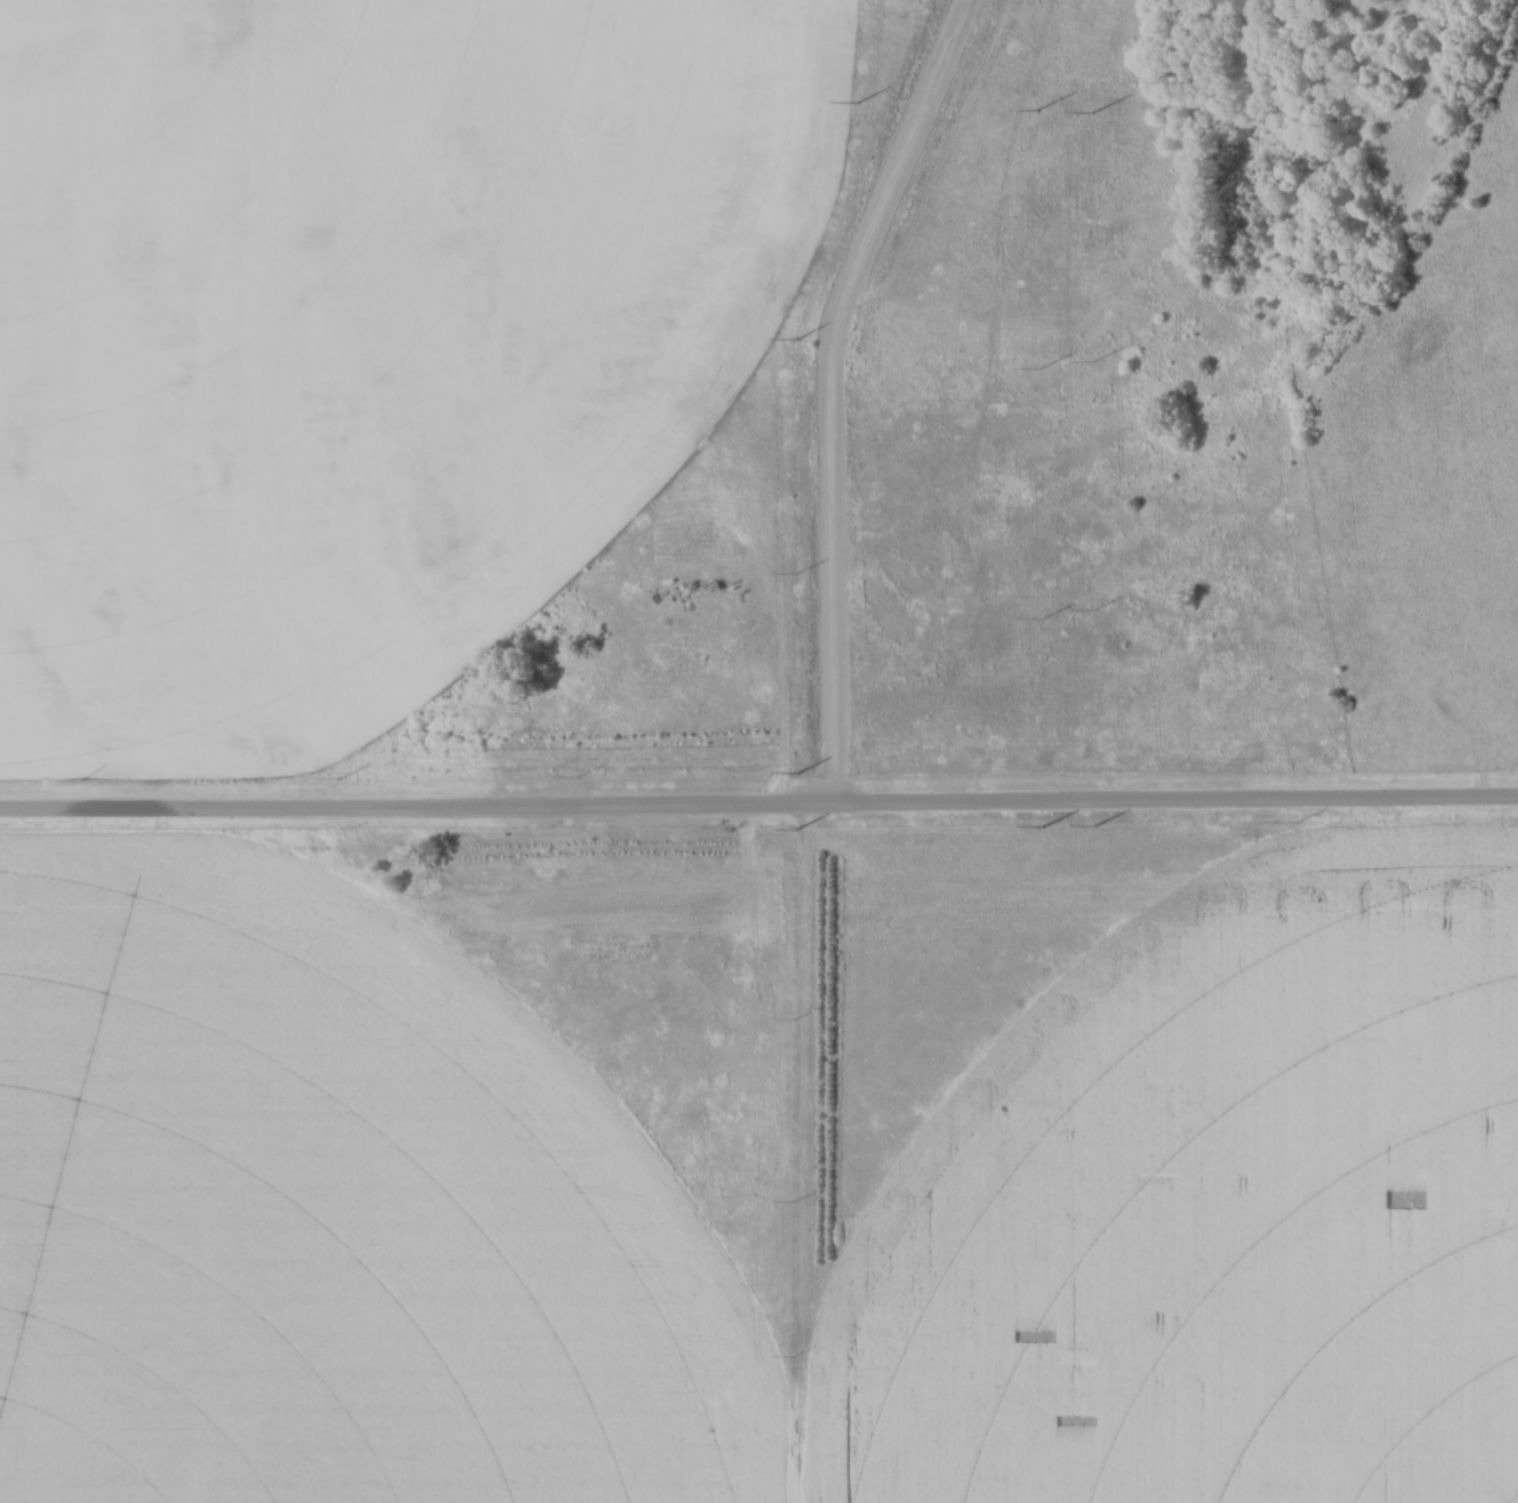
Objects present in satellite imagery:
road: (759, 805)

